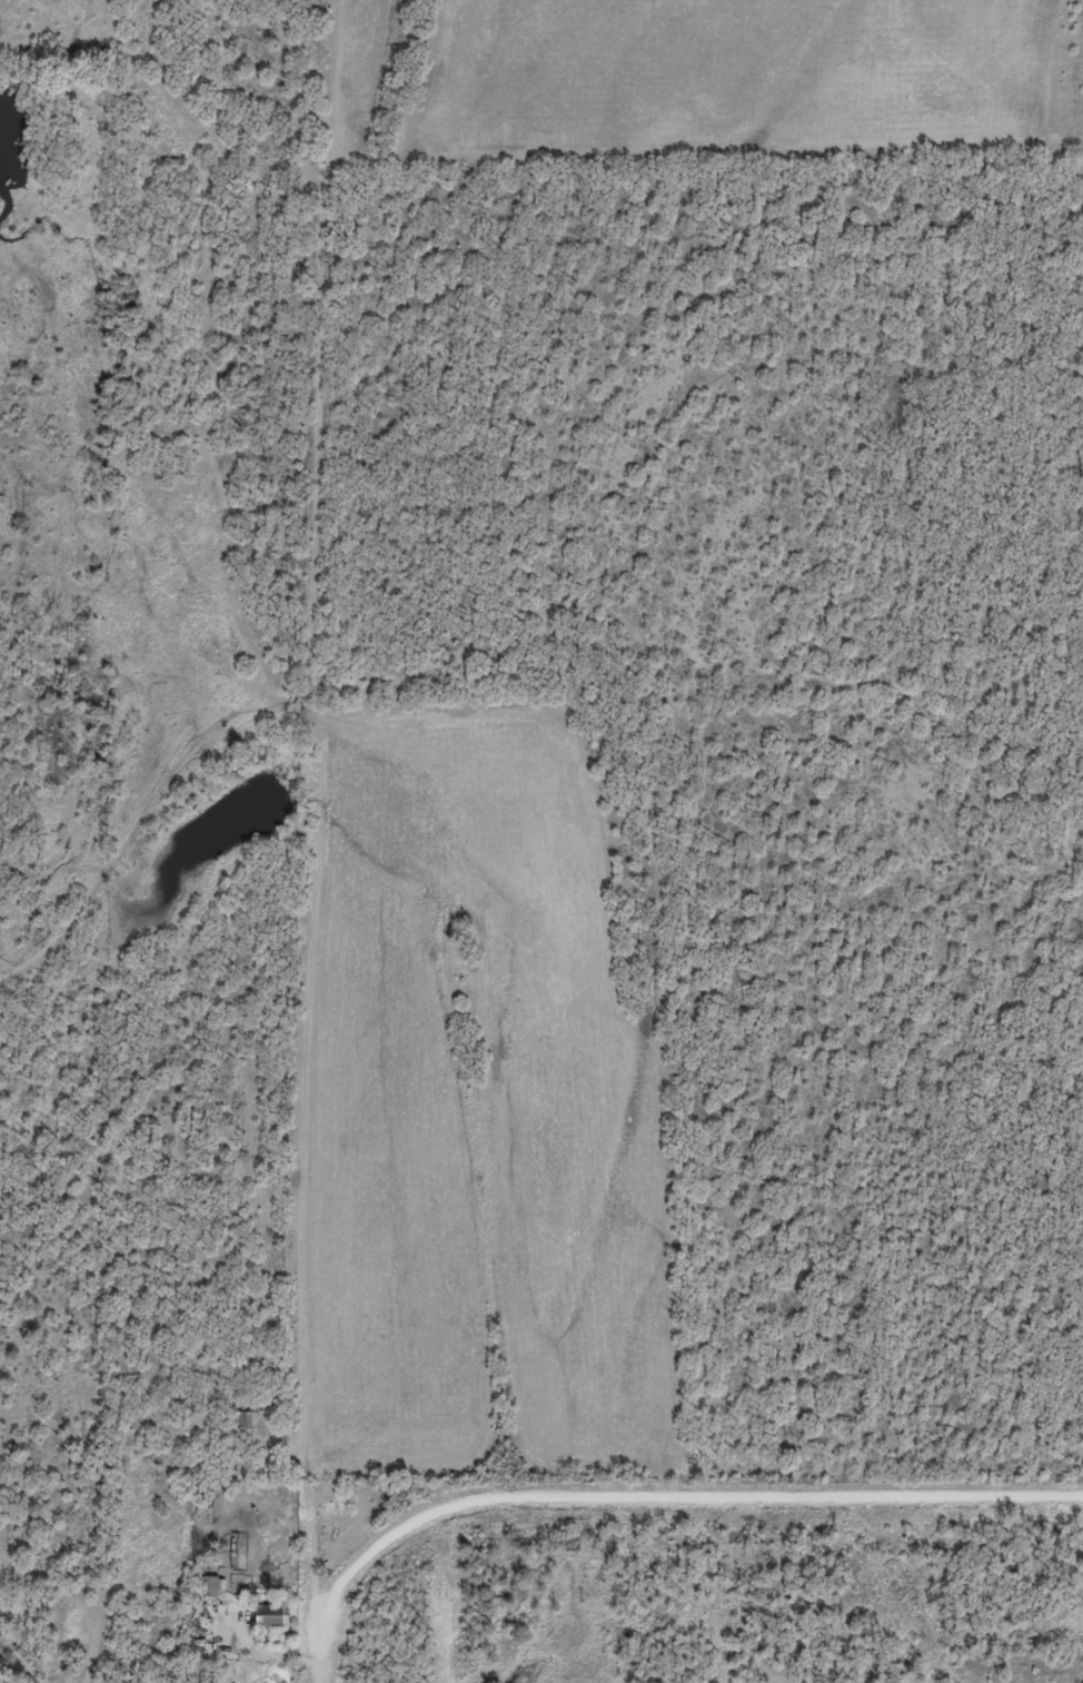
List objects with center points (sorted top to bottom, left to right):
building: (242, 1434)
road: (648, 1498)
building: (212, 1594)
building: (270, 1624)

